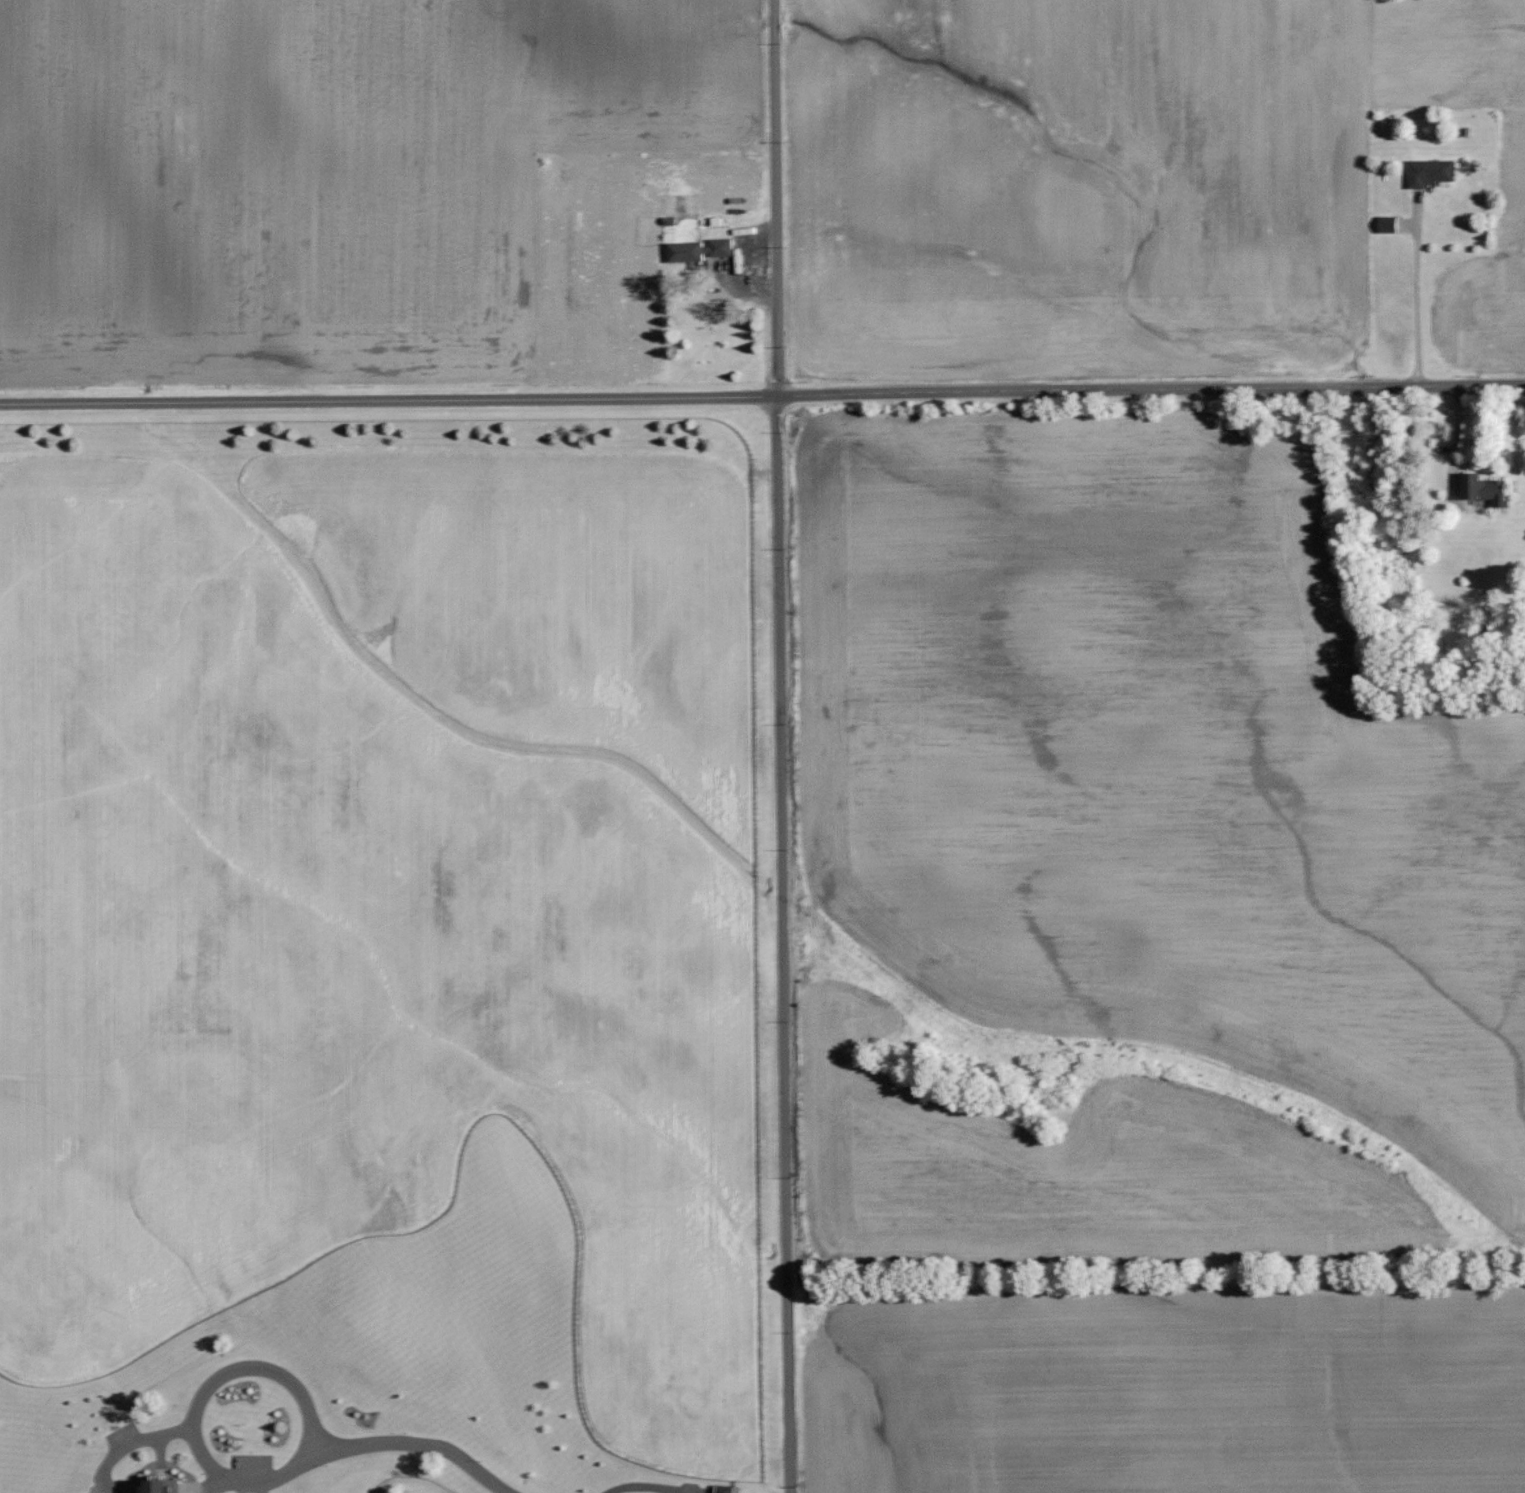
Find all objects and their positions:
building: (1428, 171)
building: (1386, 223)
building: (697, 248)
road: (1418, 296)
road: (762, 392)
building: (1481, 488)
road: (783, 746)
road: (131, 1439)
road: (413, 1440)
road: (158, 1447)
road: (294, 1457)
building: (166, 1486)
building: (721, 1488)

